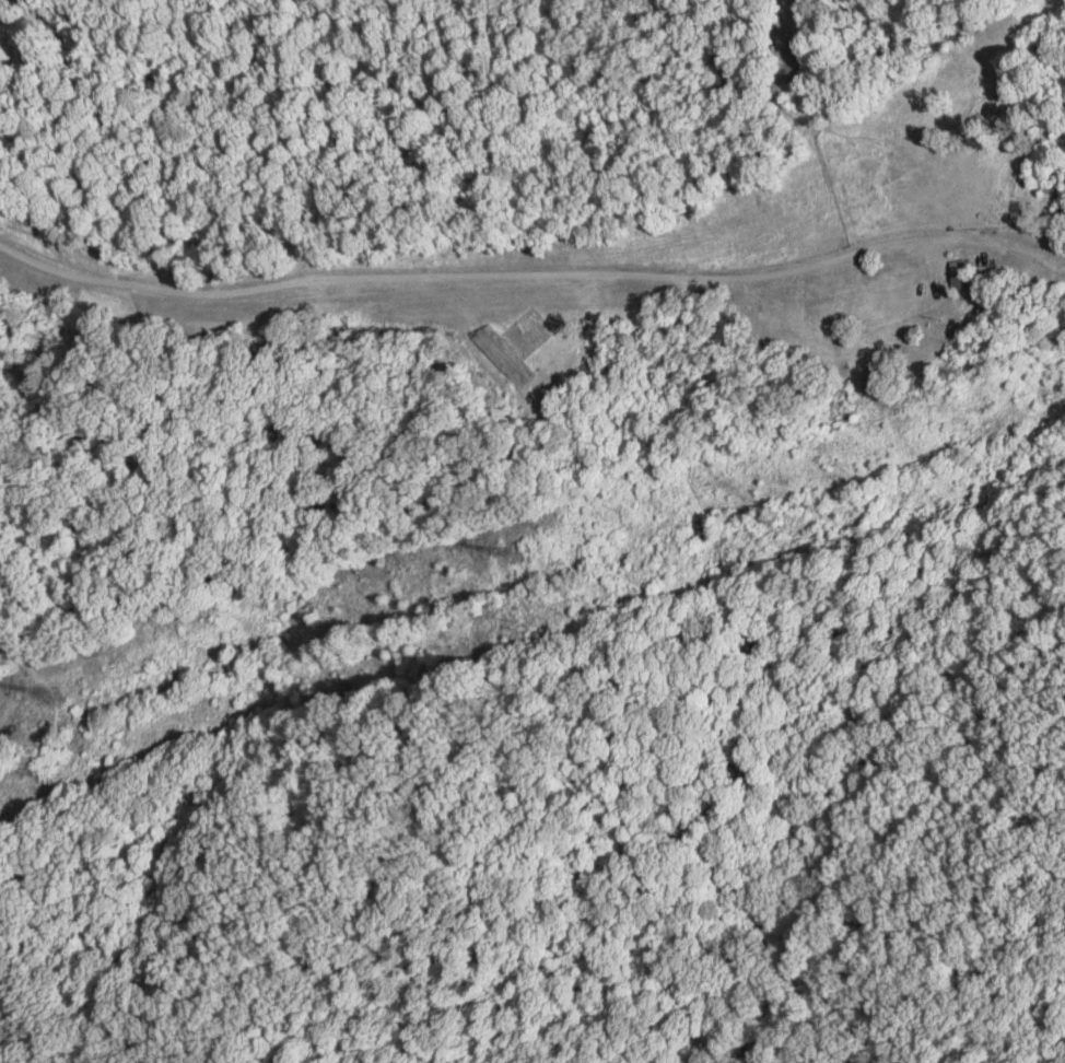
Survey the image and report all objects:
road: (530, 295)
power tower: (507, 558)
power tower: (514, 623)
power tower: (55, 694)
power tower: (35, 770)

